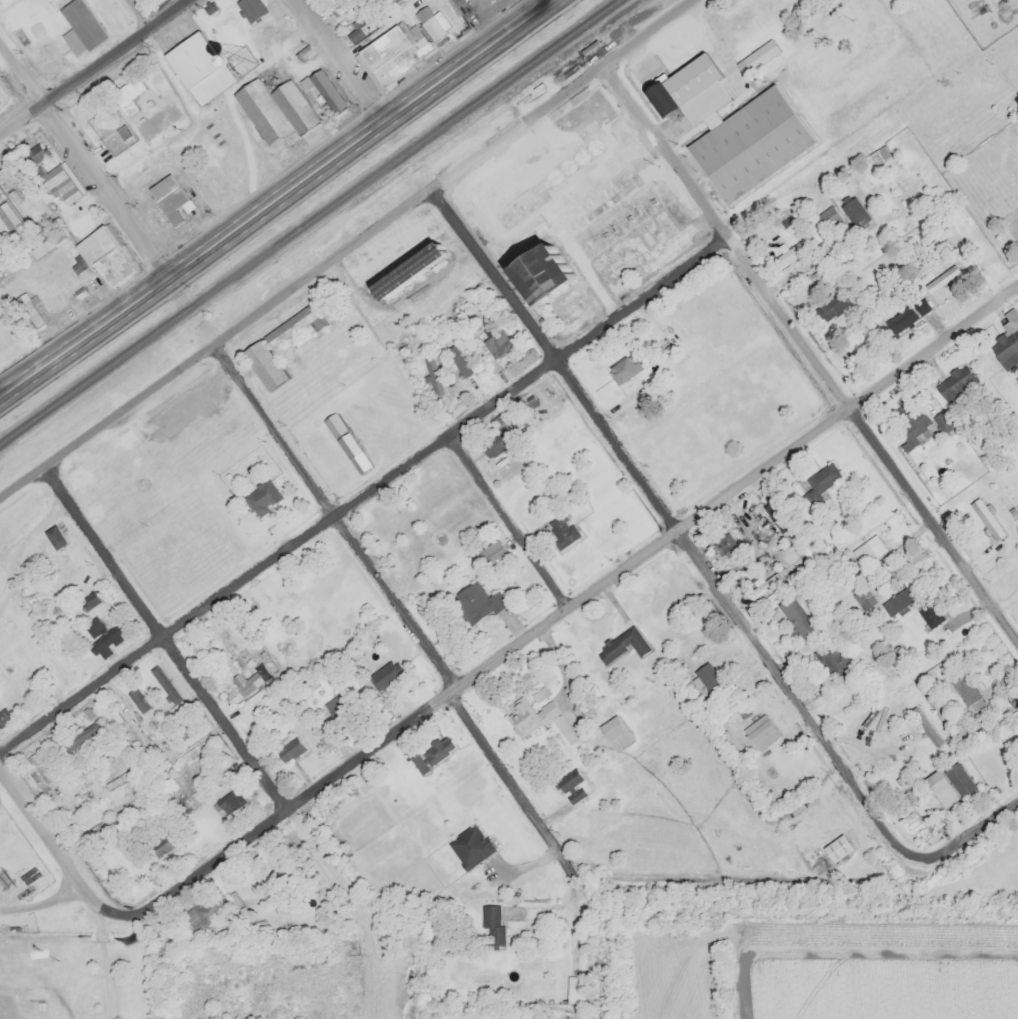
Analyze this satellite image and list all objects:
building: (457, 2)
road: (139, 12)
building: (430, 25)
building: (79, 28)
building: (354, 35)
building: (393, 54)
road: (342, 60)
road: (91, 64)
building: (197, 68)
building: (325, 92)
building: (127, 95)
building: (4, 97)
building: (274, 109)
building: (104, 119)
building: (732, 123)
building: (33, 155)
building: (878, 155)
road: (83, 157)
building: (572, 161)
building: (7, 177)
building: (58, 184)
building: (169, 199)
road: (274, 199)
building: (852, 211)
building: (827, 217)
building: (10, 221)
railway: (308, 221)
road: (343, 250)
building: (931, 250)
building: (389, 254)
building: (106, 255)
building: (408, 272)
building: (541, 276)
building: (811, 277)
building: (28, 313)
building: (831, 313)
building: (906, 314)
building: (274, 336)
building: (1006, 342)
building: (493, 345)
road: (810, 346)
building: (625, 369)
building: (432, 374)
building: (955, 384)
building: (915, 419)
building: (345, 444)
building: (492, 445)
road: (406, 463)
building: (819, 482)
building: (260, 498)
road: (511, 516)
building: (986, 518)
road: (676, 527)
building: (560, 529)
building: (54, 536)
building: (724, 542)
building: (778, 548)
building: (491, 552)
building: (862, 597)
building: (896, 601)
building: (475, 602)
road: (567, 603)
building: (280, 611)
building: (929, 613)
building: (795, 614)
road: (407, 615)
building: (102, 635)
building: (621, 643)
building: (833, 658)
building: (383, 673)
building: (242, 683)
building: (166, 687)
building: (966, 689)
building: (137, 699)
road: (210, 700)
building: (527, 714)
building: (3, 718)
building: (924, 725)
building: (186, 731)
building: (614, 732)
building: (80, 734)
building: (289, 748)
building: (437, 749)
building: (417, 764)
building: (116, 780)
building: (948, 783)
building: (569, 784)
building: (230, 801)
building: (92, 831)
road: (973, 832)
road: (55, 841)
building: (159, 844)
building: (469, 846)
building: (836, 847)
building: (276, 859)
road: (46, 908)
building: (203, 911)
building: (491, 923)
building: (253, 925)
building: (575, 989)

